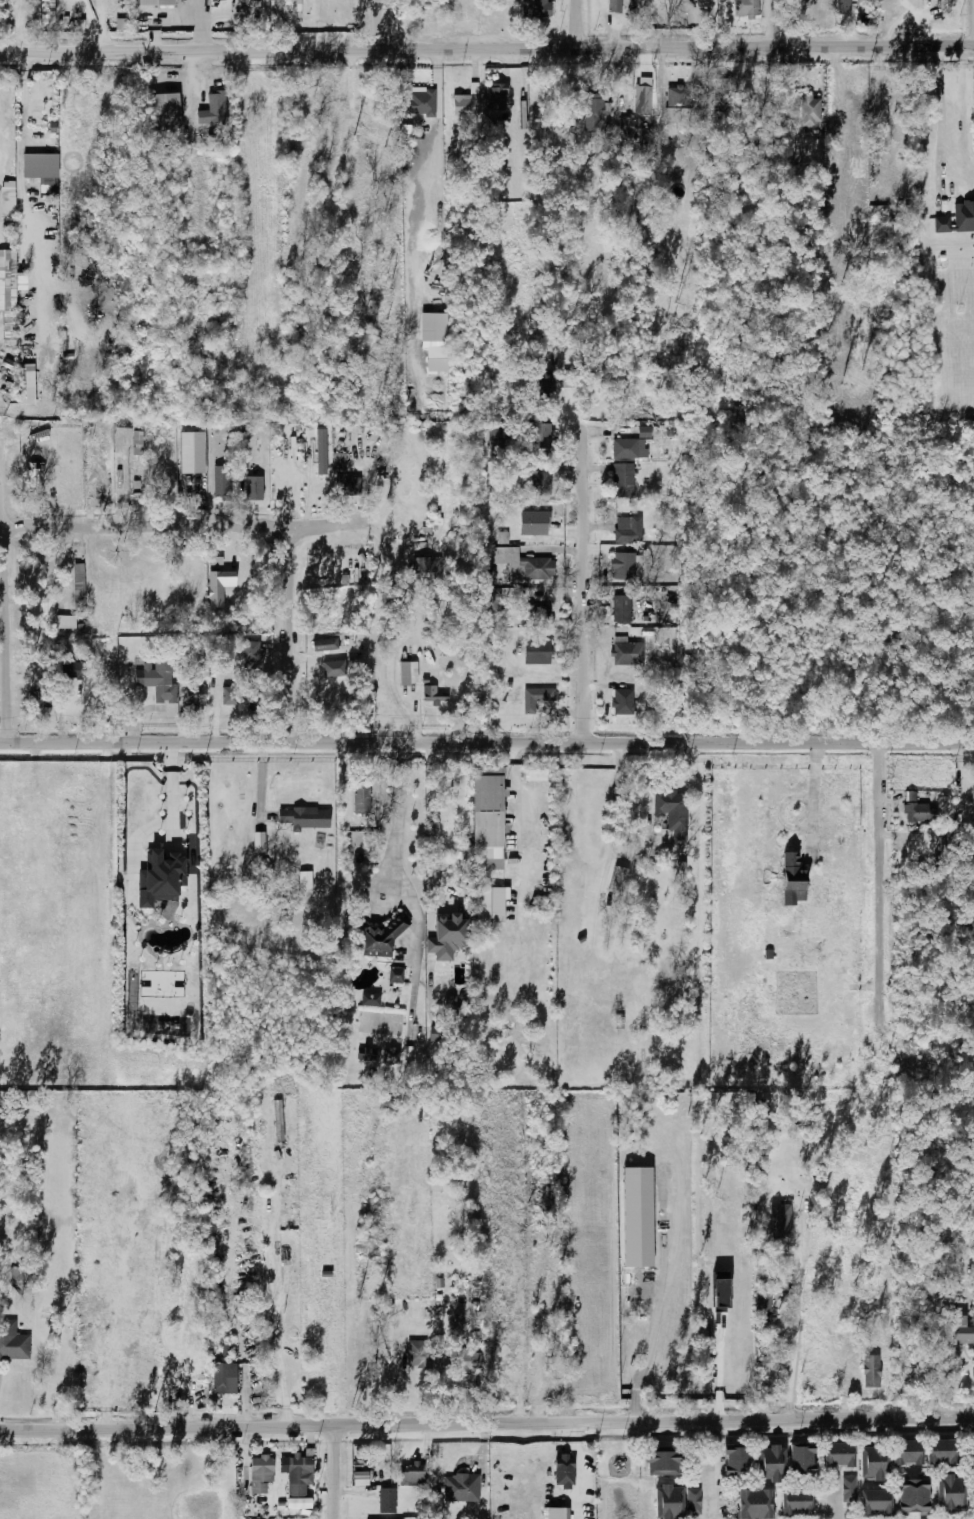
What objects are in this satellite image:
building: (155, 2)
building: (613, 6)
building: (842, 7)
building: (535, 8)
building: (749, 8)
building: (673, 9)
building: (453, 10)
building: (288, 11)
building: (414, 11)
road: (781, 20)
road: (581, 21)
road: (202, 22)
road: (381, 22)
road: (267, 23)
building: (123, 24)
road: (486, 43)
building: (497, 97)
building: (642, 99)
building: (676, 100)
building: (417, 102)
building: (464, 105)
building: (212, 110)
building: (163, 111)
building: (811, 111)
building: (592, 113)
road: (192, 115)
road: (941, 116)
building: (626, 129)
road: (20, 147)
building: (39, 166)
building: (7, 201)
building: (957, 217)
building: (41, 280)
building: (7, 293)
building: (434, 339)
building: (569, 376)
building: (546, 384)
building: (25, 392)
building: (540, 434)
building: (121, 437)
building: (137, 440)
building: (629, 448)
building: (321, 451)
building: (192, 452)
building: (344, 477)
building: (623, 480)
building: (221, 481)
building: (541, 481)
building: (254, 488)
road: (184, 524)
building: (628, 528)
building: (522, 563)
building: (427, 565)
building: (623, 565)
building: (78, 584)
building: (219, 586)
road: (5, 590)
road: (584, 590)
building: (495, 601)
building: (622, 607)
building: (537, 616)
building: (65, 621)
road: (291, 633)
building: (324, 644)
building: (538, 651)
building: (627, 651)
building: (252, 654)
building: (334, 668)
building: (71, 669)
building: (408, 672)
building: (158, 678)
building: (434, 694)
building: (195, 695)
building: (229, 695)
building: (536, 697)
building: (37, 698)
building: (623, 700)
road: (486, 743)
building: (540, 774)
road: (260, 778)
road: (650, 781)
building: (361, 798)
building: (973, 807)
road: (524, 808)
building: (914, 809)
building: (486, 811)
building: (672, 813)
road: (430, 816)
building: (303, 818)
road: (397, 820)
building: (257, 842)
building: (946, 848)
building: (681, 868)
building: (160, 878)
building: (305, 879)
building: (617, 879)
building: (791, 879)
road: (881, 899)
building: (490, 903)
building: (447, 937)
building: (378, 939)
building: (395, 975)
building: (370, 999)
building: (436, 1034)
building: (365, 1054)
building: (389, 1056)
building: (780, 1205)
building: (547, 1212)
building: (367, 1247)
building: (89, 1266)
building: (214, 1273)
building: (17, 1276)
building: (158, 1280)
building: (721, 1294)
building: (214, 1297)
building: (764, 1304)
road: (274, 1306)
road: (796, 1320)
building: (958, 1329)
road: (118, 1338)
building: (12, 1342)
building: (415, 1353)
building: (89, 1355)
building: (769, 1359)
building: (923, 1366)
building: (871, 1371)
road: (718, 1375)
building: (223, 1378)
building: (87, 1386)
road: (487, 1424)
building: (941, 1452)
building: (907, 1453)
building: (970, 1455)
building: (838, 1456)
building: (801, 1459)
building: (660, 1461)
building: (735, 1461)
building: (873, 1462)
building: (769, 1464)
building: (564, 1471)
building: (410, 1472)
building: (259, 1473)
road: (333, 1473)
building: (298, 1475)
building: (360, 1479)
road: (707, 1482)
building: (460, 1488)
building: (847, 1490)
building: (949, 1493)
building: (912, 1498)
building: (386, 1500)
building: (692, 1501)
building: (795, 1502)
building: (875, 1502)
building: (299, 1503)
building: (668, 1503)
building: (754, 1504)
building: (556, 1513)
building: (940, 1518)

